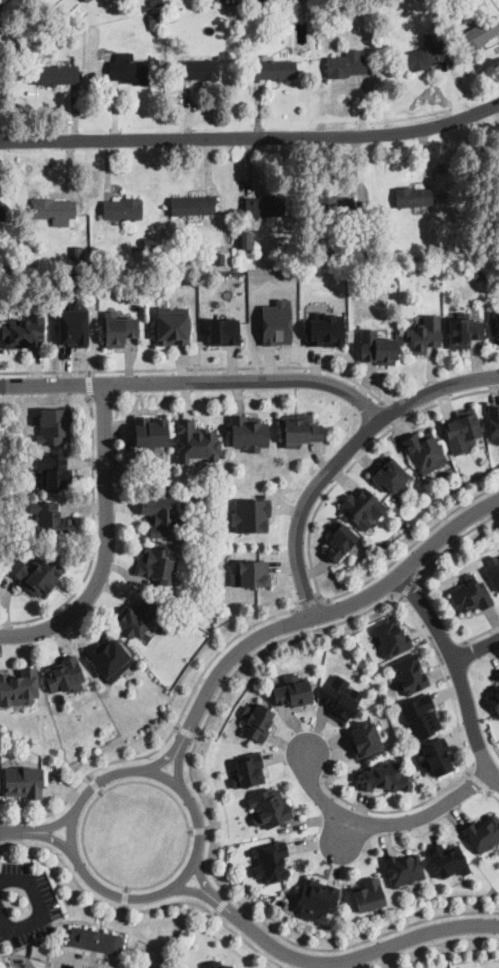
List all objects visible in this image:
road: (0, 1)
building: (87, 1)
building: (156, 3)
building: (476, 4)
building: (143, 9)
building: (266, 9)
building: (252, 11)
building: (370, 11)
building: (171, 18)
building: (155, 21)
building: (59, 26)
building: (369, 26)
building: (479, 33)
building: (426, 53)
building: (345, 64)
building: (127, 68)
building: (199, 69)
building: (273, 69)
building: (56, 73)
road: (251, 135)
building: (412, 196)
building: (191, 205)
building: (498, 205)
building: (264, 206)
building: (336, 207)
building: (122, 209)
building: (54, 210)
building: (3, 212)
building: (247, 240)
building: (148, 241)
building: (454, 243)
building: (329, 250)
building: (317, 251)
building: (77, 254)
building: (218, 261)
building: (276, 322)
building: (72, 325)
building: (173, 325)
building: (496, 325)
building: (119, 328)
building: (325, 329)
building: (223, 330)
building: (463, 330)
building: (24, 331)
building: (424, 335)
building: (377, 348)
road: (196, 368)
road: (88, 373)
road: (196, 381)
road: (90, 385)
road: (392, 413)
building: (494, 421)
building: (54, 425)
building: (299, 428)
building: (463, 430)
building: (151, 432)
building: (248, 432)
building: (196, 441)
building: (425, 450)
road: (343, 455)
building: (55, 469)
building: (390, 475)
building: (363, 507)
building: (250, 514)
building: (162, 516)
building: (51, 519)
road: (93, 538)
road: (455, 541)
road: (105, 542)
building: (337, 542)
road: (309, 549)
building: (157, 565)
building: (493, 572)
building: (37, 573)
building: (253, 573)
road: (408, 585)
building: (471, 595)
road: (307, 604)
road: (322, 613)
building: (136, 617)
road: (480, 634)
building: (392, 636)
building: (355, 644)
road: (478, 649)
road: (451, 654)
building: (111, 657)
road: (459, 671)
building: (410, 673)
building: (65, 674)
building: (497, 675)
road: (447, 681)
building: (19, 687)
building: (294, 690)
building: (341, 697)
building: (494, 700)
building: (421, 715)
building: (257, 720)
road: (178, 727)
road: (187, 732)
road: (197, 737)
building: (365, 738)
road: (165, 740)
building: (437, 756)
road: (162, 761)
road: (179, 769)
building: (248, 770)
building: (384, 777)
road: (89, 778)
building: (23, 781)
road: (480, 782)
road: (95, 785)
road: (100, 792)
road: (493, 793)
road: (77, 806)
building: (268, 807)
road: (392, 811)
road: (378, 822)
road: (57, 824)
road: (19, 830)
road: (209, 830)
road: (191, 831)
road: (199, 831)
road: (343, 831)
road: (212, 832)
building: (483, 833)
road: (56, 839)
building: (447, 860)
building: (271, 861)
building: (403, 868)
road: (203, 879)
road: (117, 884)
road: (126, 890)
road: (192, 890)
building: (368, 894)
road: (124, 897)
road: (229, 897)
building: (316, 898)
road: (222, 905)
road: (123, 907)
road: (142, 911)
road: (216, 913)
road: (47, 917)
building: (96, 939)
road: (430, 946)
road: (347, 958)
building: (216, 964)

